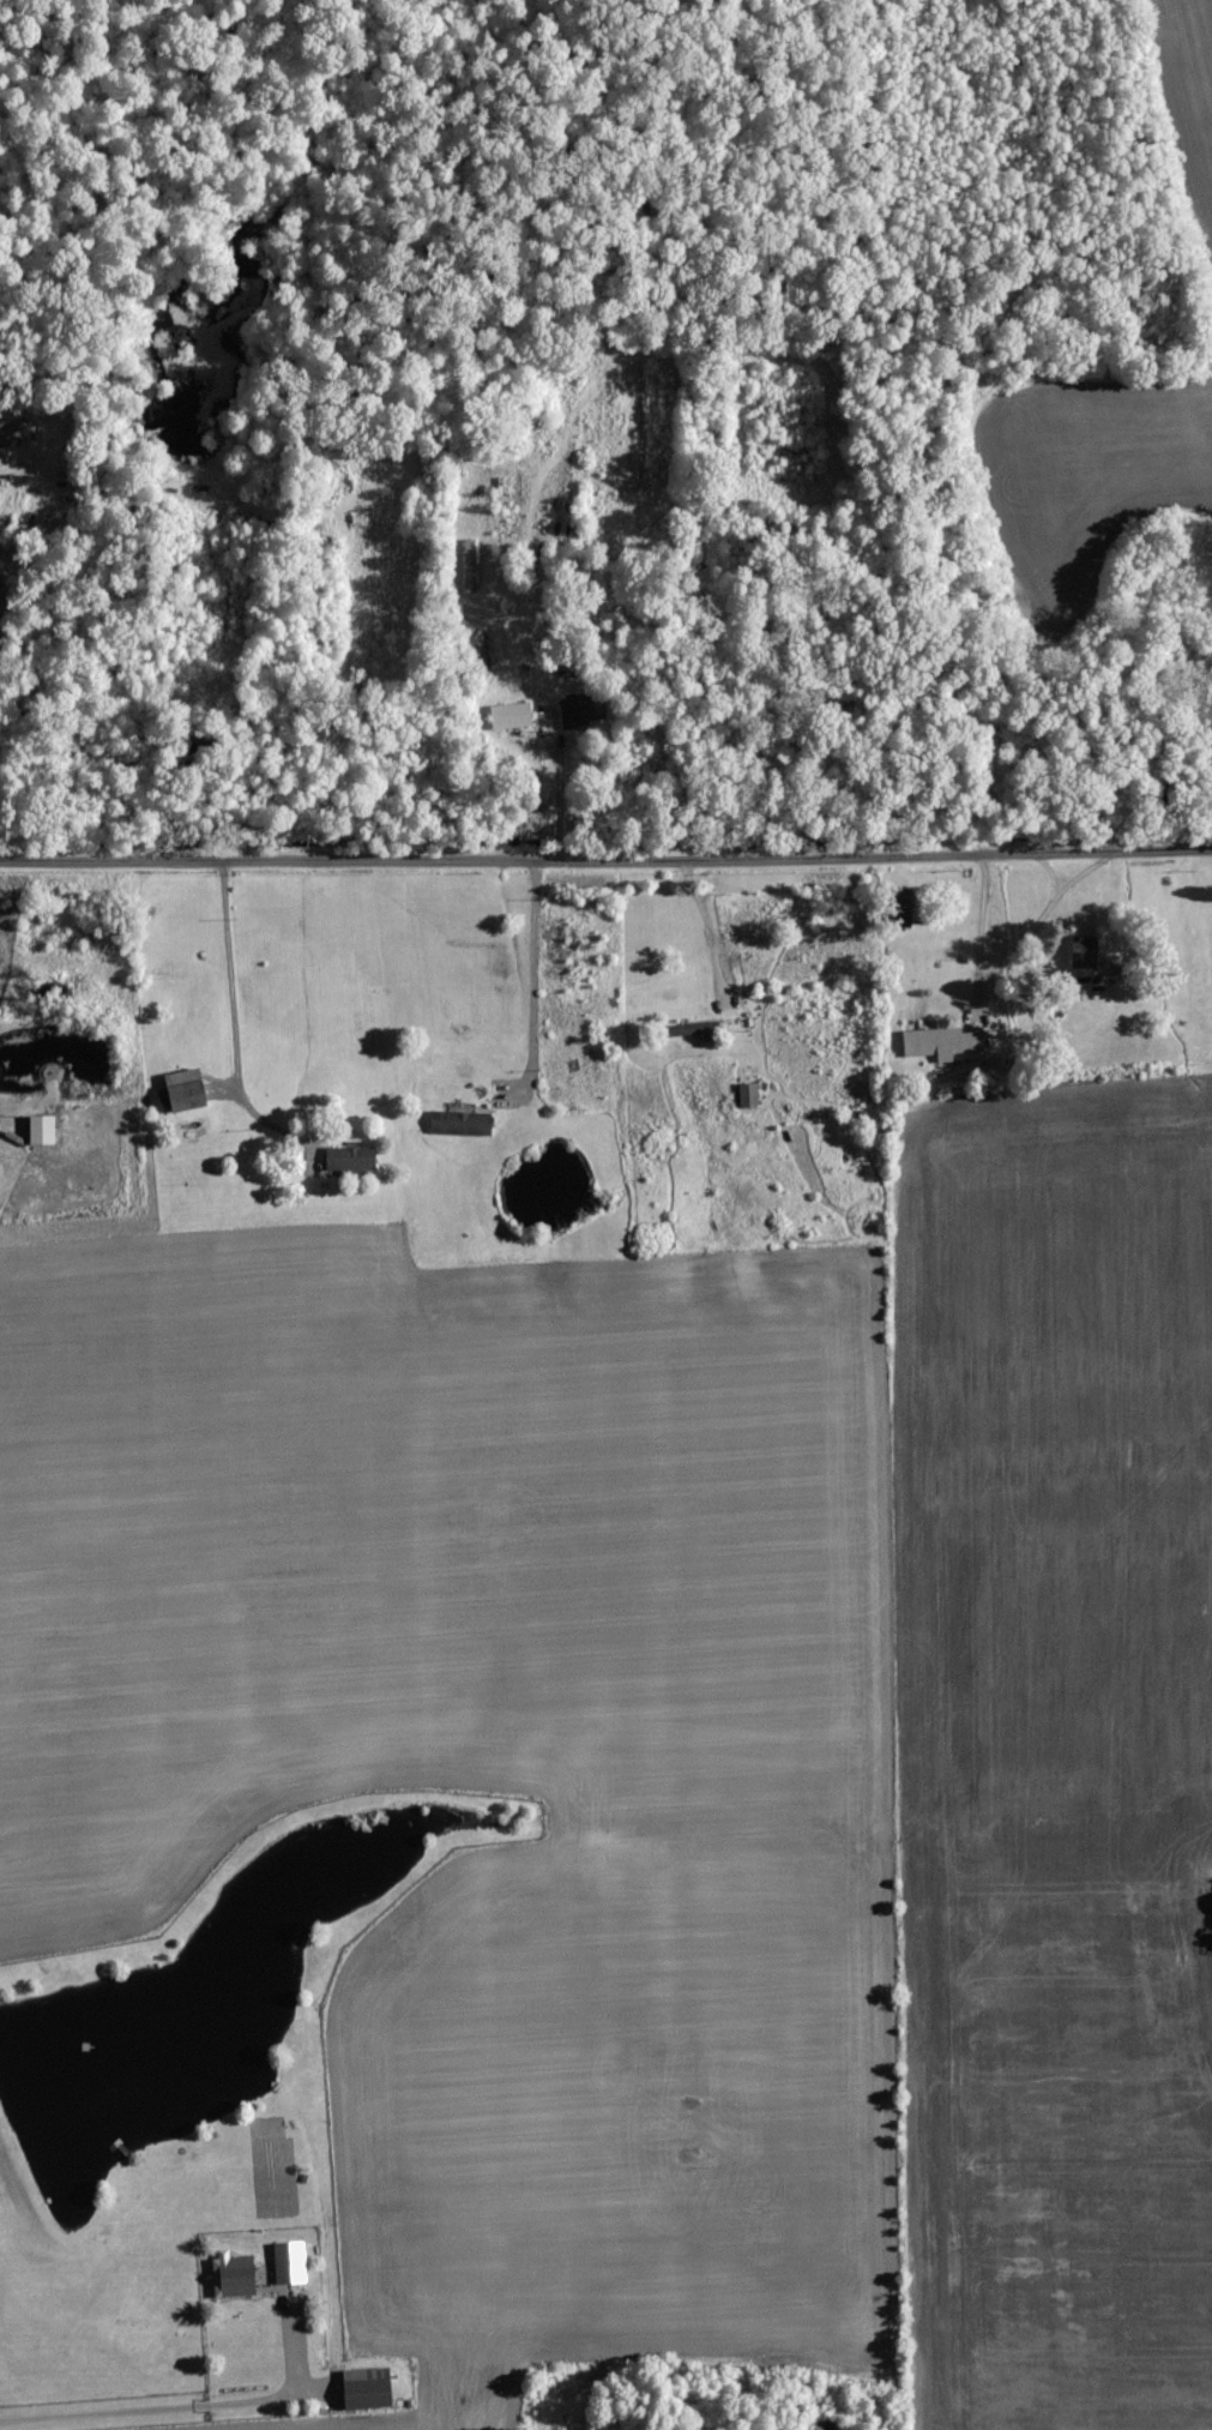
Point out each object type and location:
building: (512, 716)
road: (566, 793)
road: (605, 862)
road: (718, 936)
building: (1083, 952)
road: (541, 988)
road: (239, 1022)
building: (683, 1029)
building: (941, 1042)
building: (186, 1090)
building: (749, 1095)
building: (460, 1123)
building: (43, 1130)
building: (351, 1157)
building: (291, 2272)
building: (234, 2275)
building: (368, 2388)
road: (147, 2406)

